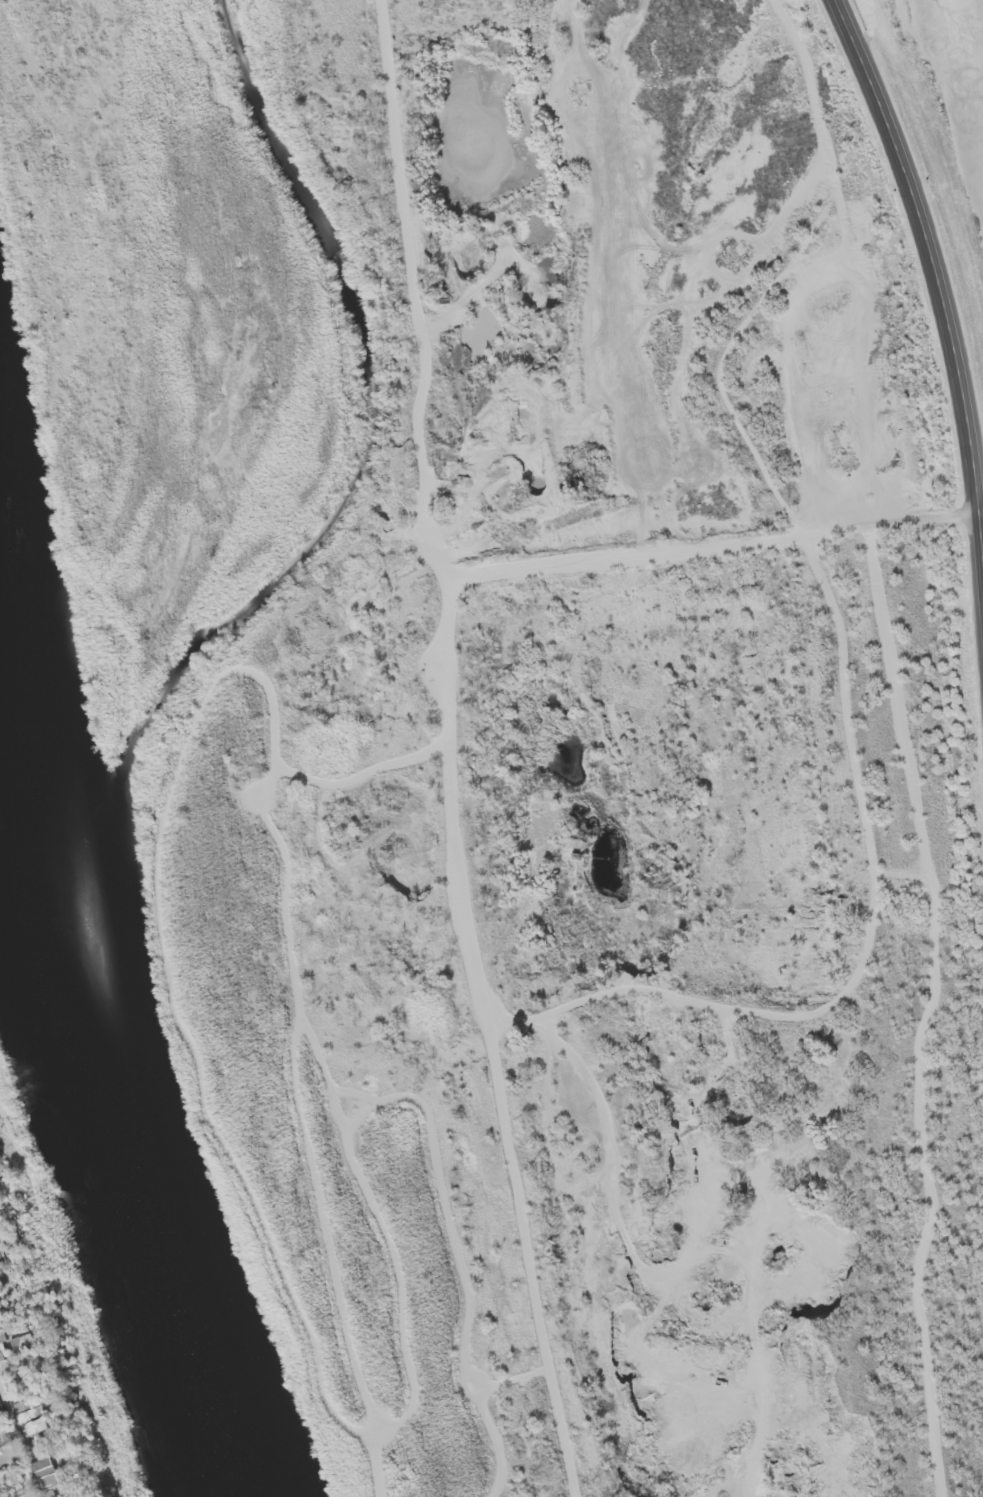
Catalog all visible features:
road: (779, 281)
road: (943, 349)
road: (705, 553)
road: (435, 749)
road: (871, 1018)
river: (90, 1052)
building: (34, 1410)
road: (22, 1444)
road: (6, 1459)
building: (42, 1468)

